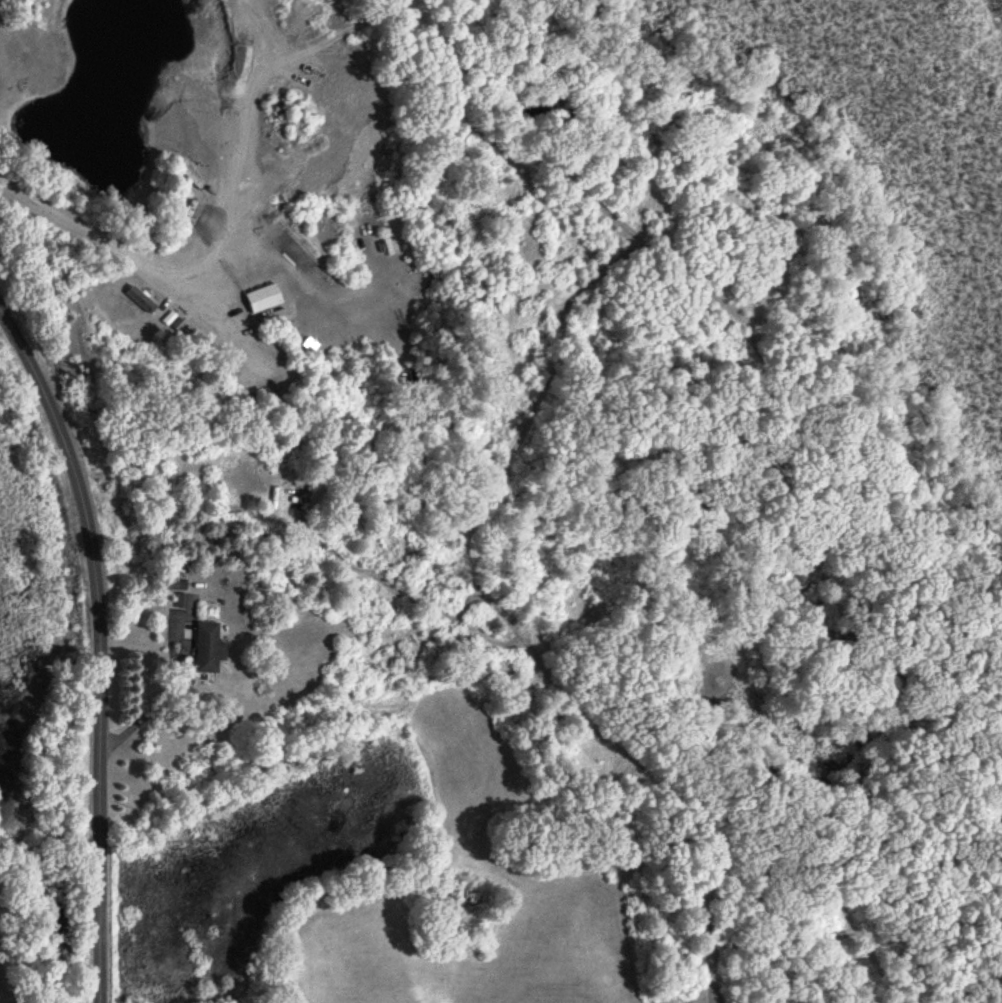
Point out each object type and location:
road: (81, 228)
building: (171, 593)
building: (206, 647)
road: (98, 650)
road: (160, 692)

